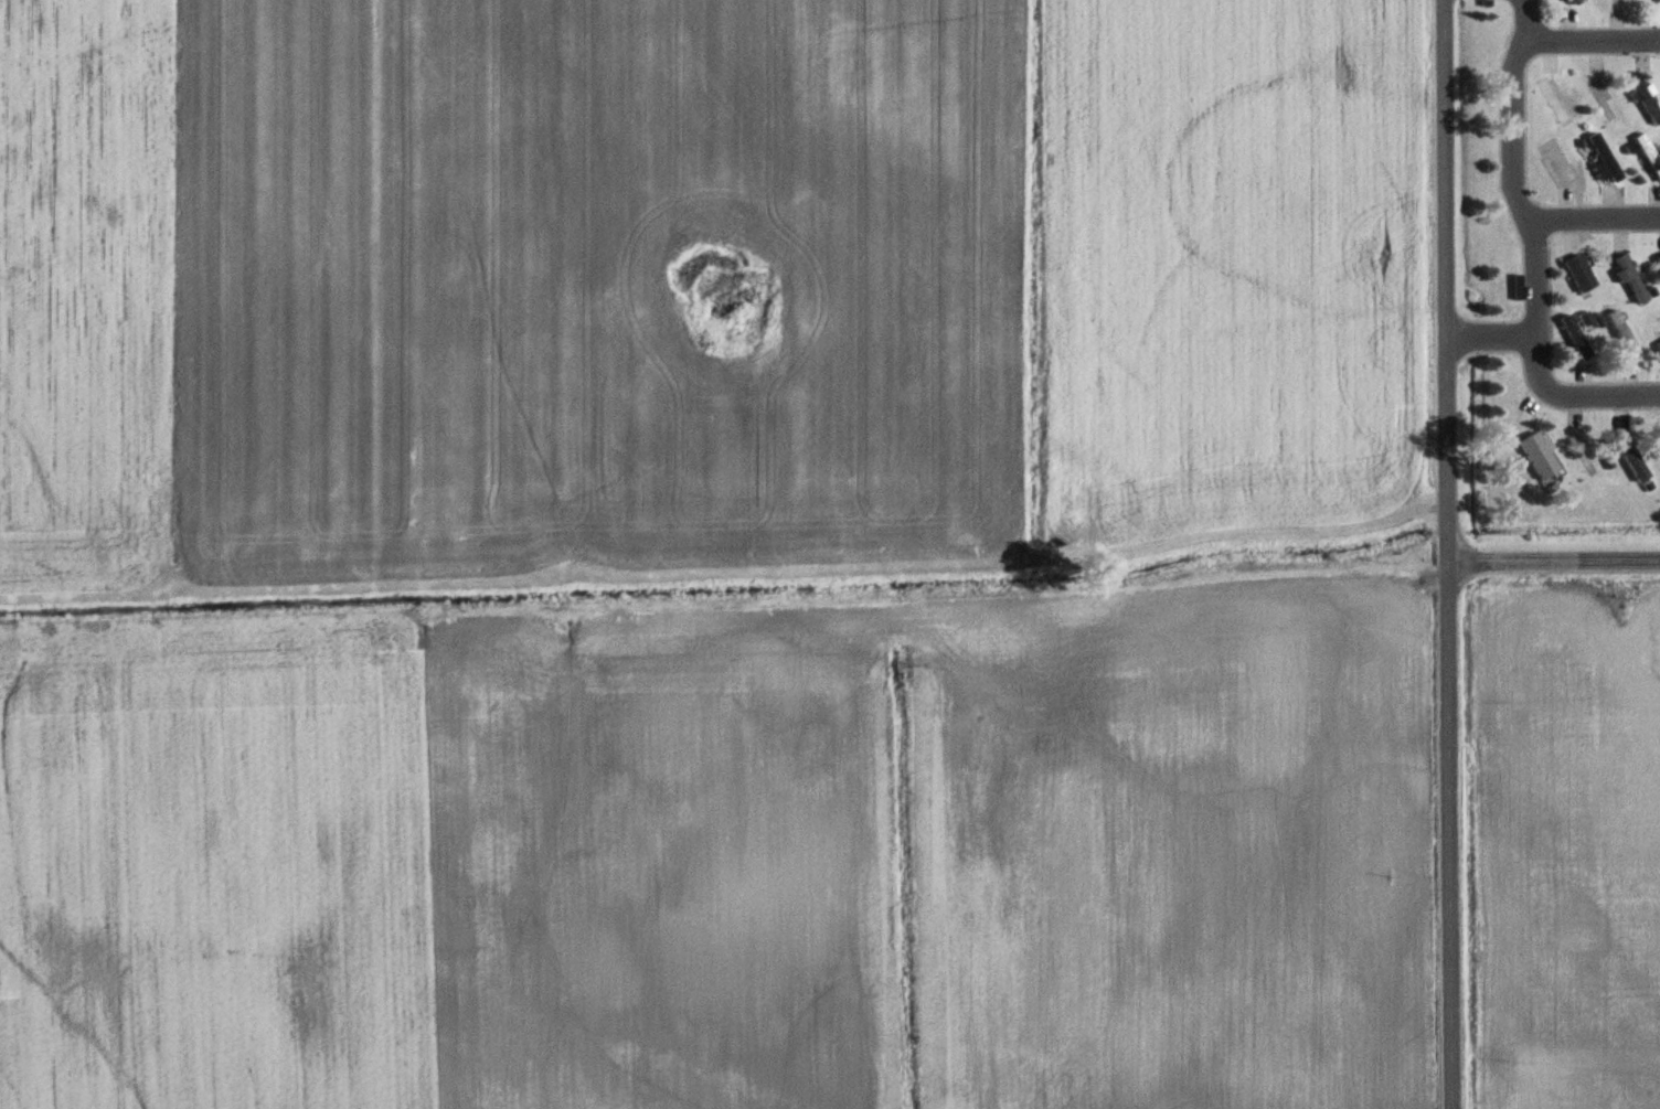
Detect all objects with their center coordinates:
building: (1659, 1)
building: (1581, 2)
building: (1626, 2)
road: (1524, 20)
road: (1603, 40)
building: (1647, 98)
building: (1602, 100)
building: (1555, 102)
building: (1649, 152)
building: (1606, 157)
building: (1556, 158)
road: (1513, 180)
road: (1595, 220)
building: (1572, 242)
building: (1659, 259)
building: (1582, 269)
building: (1631, 277)
building: (1518, 286)
building: (1587, 321)
building: (1659, 321)
building: (1625, 333)
building: (1576, 337)
road: (1489, 339)
road: (1575, 396)
building: (1659, 435)
building: (1537, 451)
building: (1630, 455)
building: (1585, 457)
road: (1448, 554)
road: (1554, 557)

